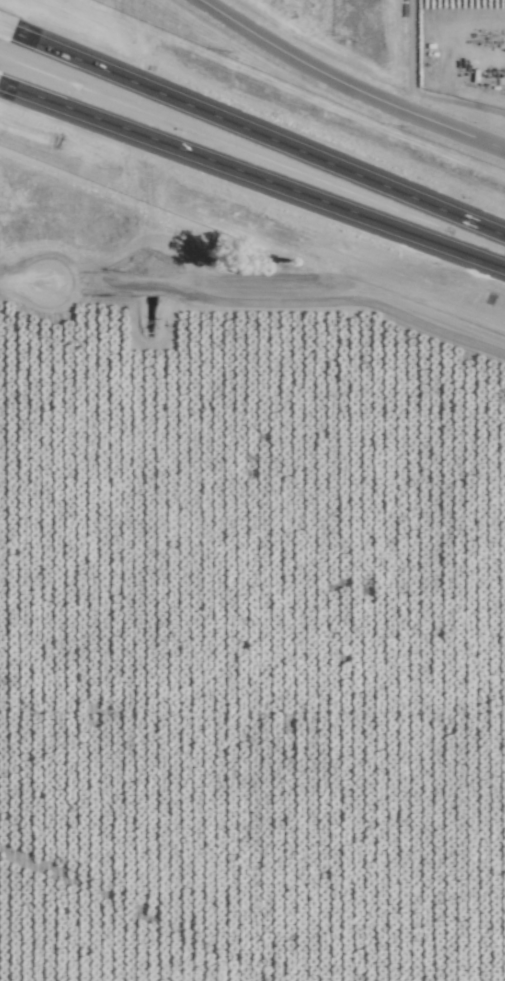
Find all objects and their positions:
road: (7, 29)
road: (345, 87)
road: (260, 133)
road: (252, 178)
road: (24, 286)

